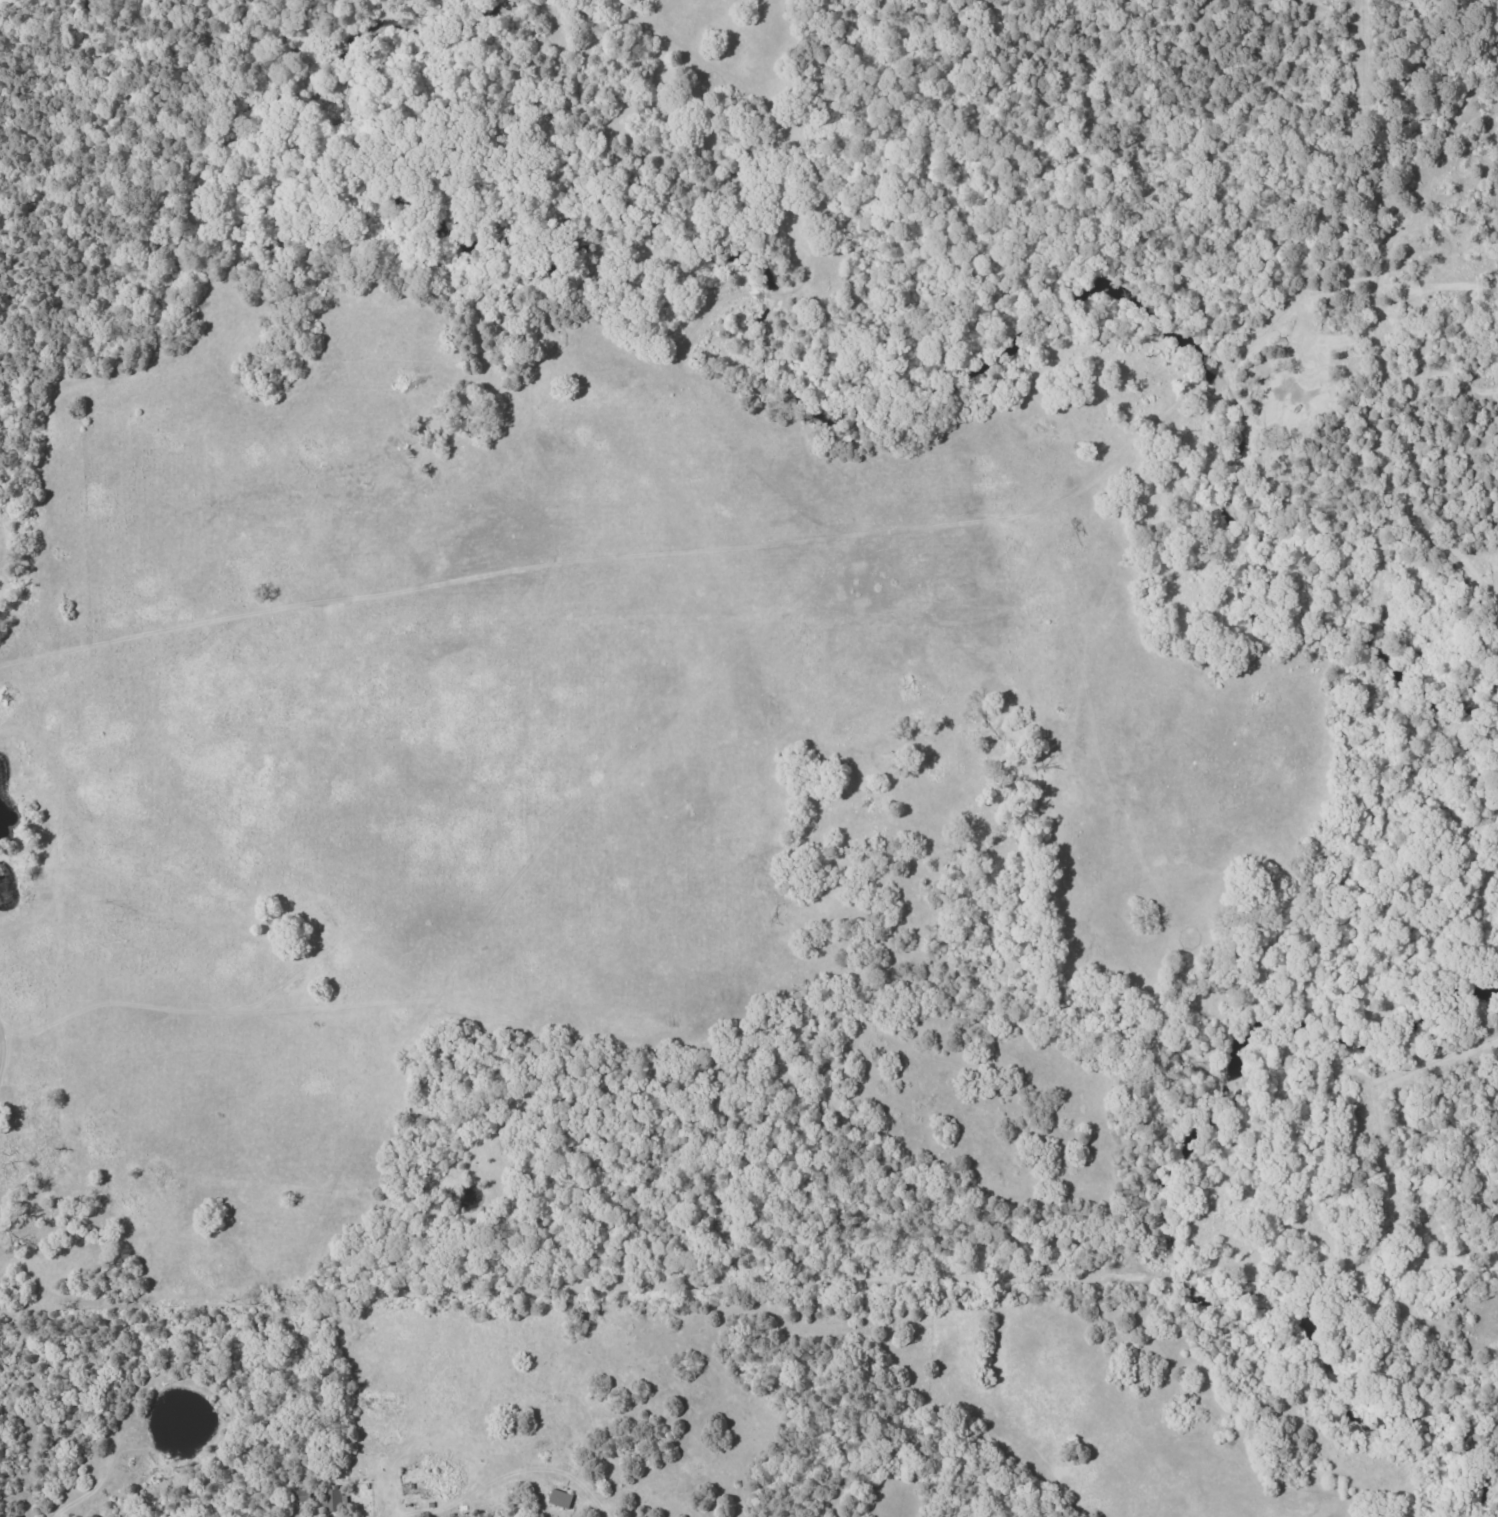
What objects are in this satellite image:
building: (559, 1498)
building: (331, 1499)
road: (385, 1515)

